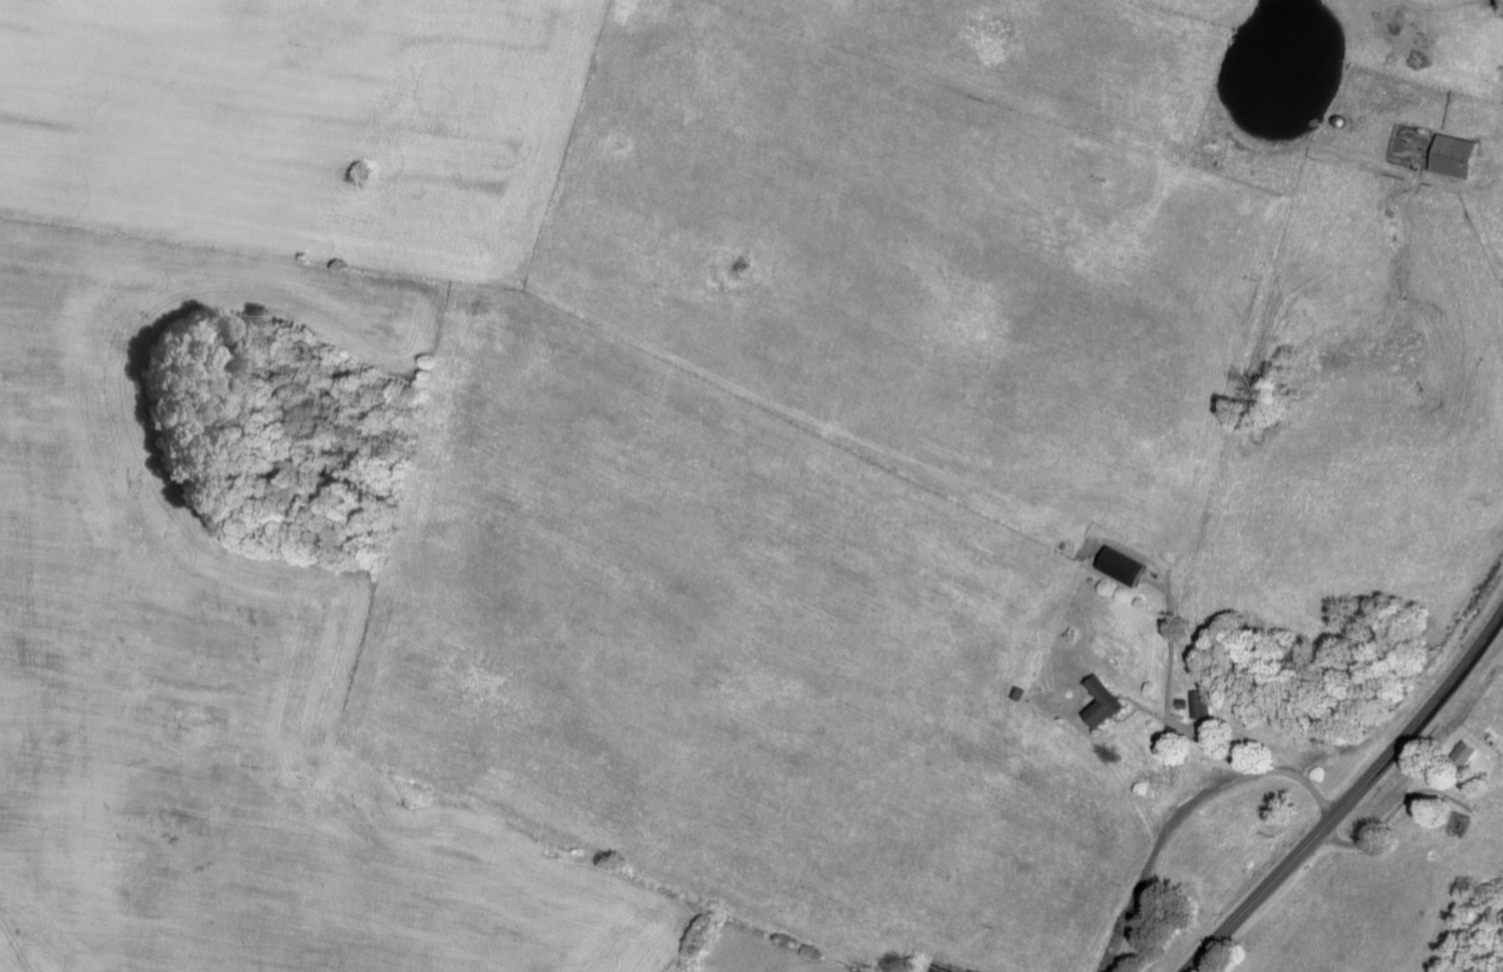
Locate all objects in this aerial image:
road: (1409, 153)
building: (1464, 157)
building: (1118, 564)
building: (1099, 702)
building: (1464, 752)
road: (1350, 797)

